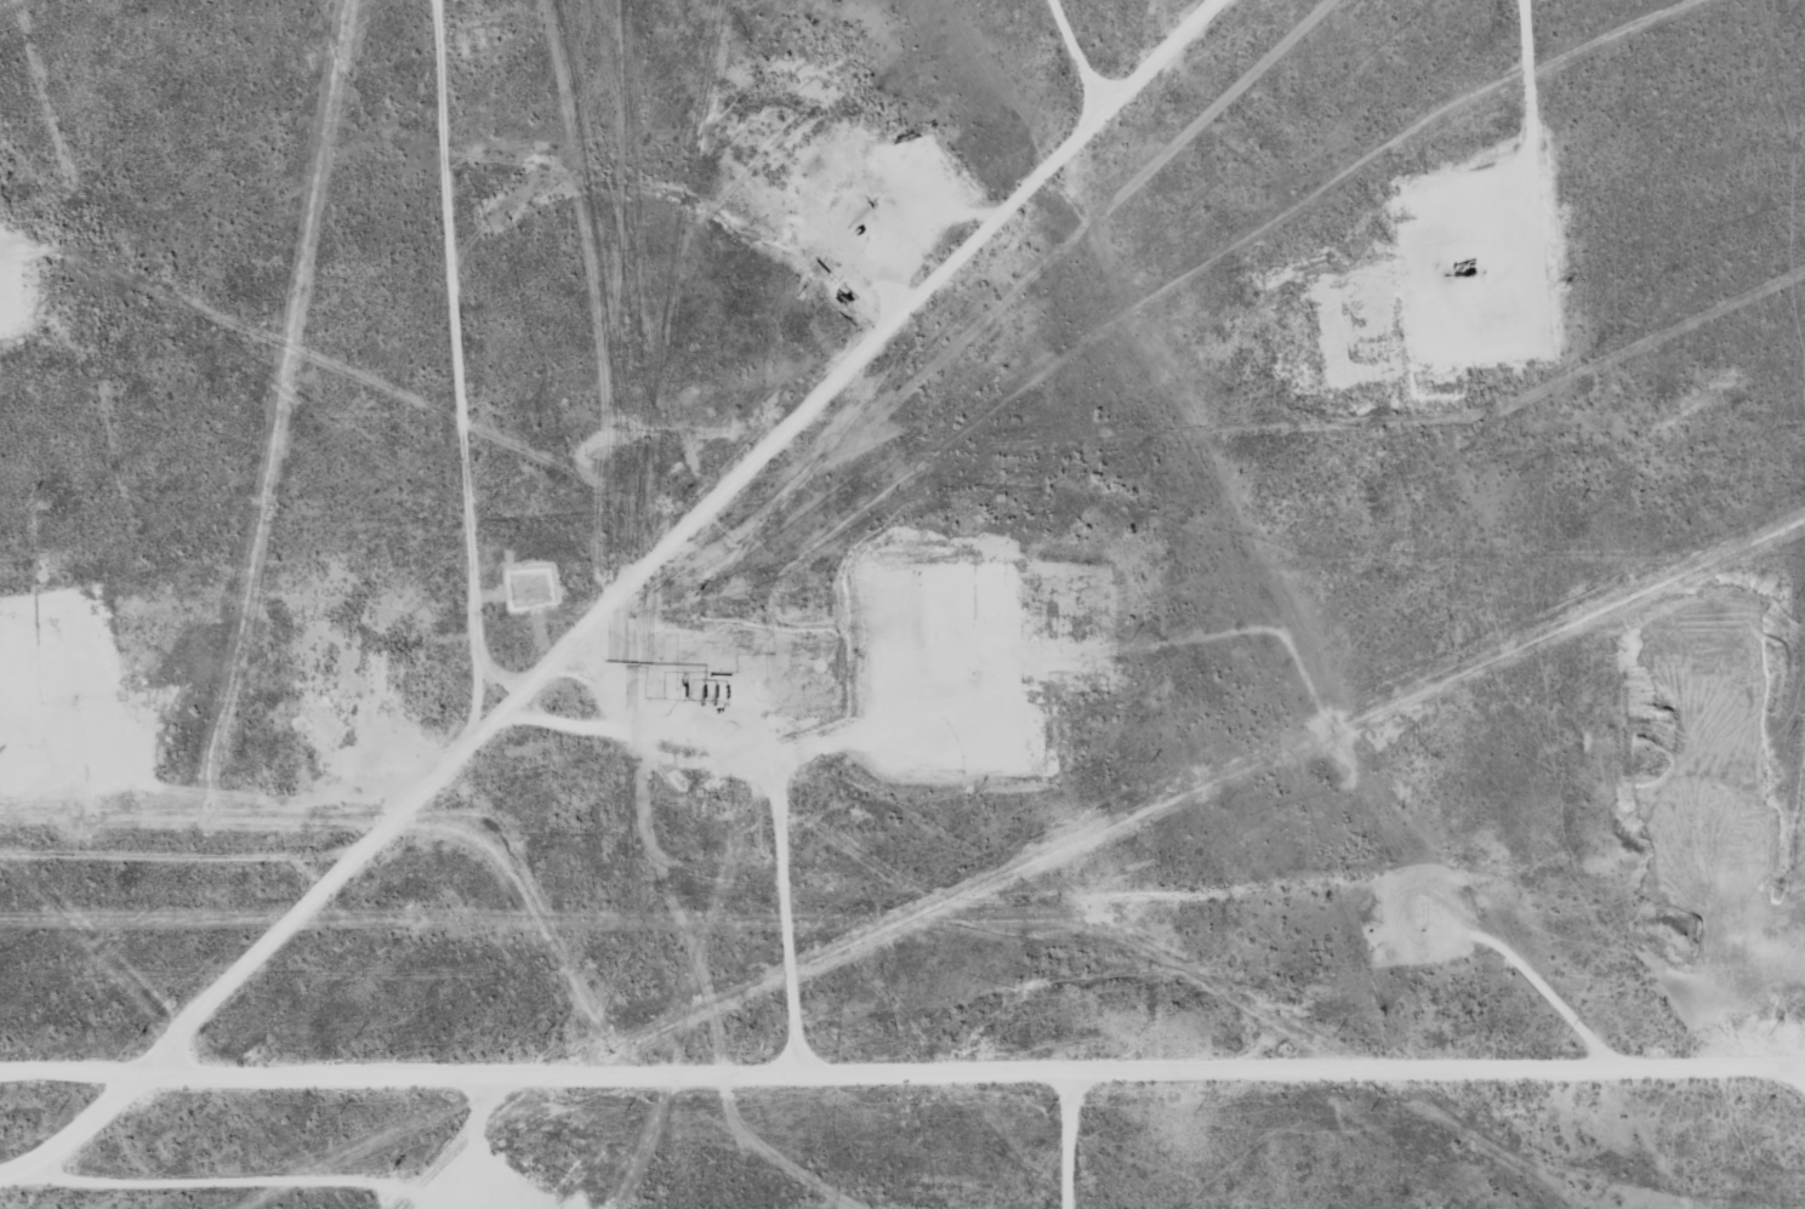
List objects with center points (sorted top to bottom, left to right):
road: (491, 373)
road: (671, 575)
road: (154, 879)
road: (1173, 907)
road: (901, 1080)
road: (478, 1146)

